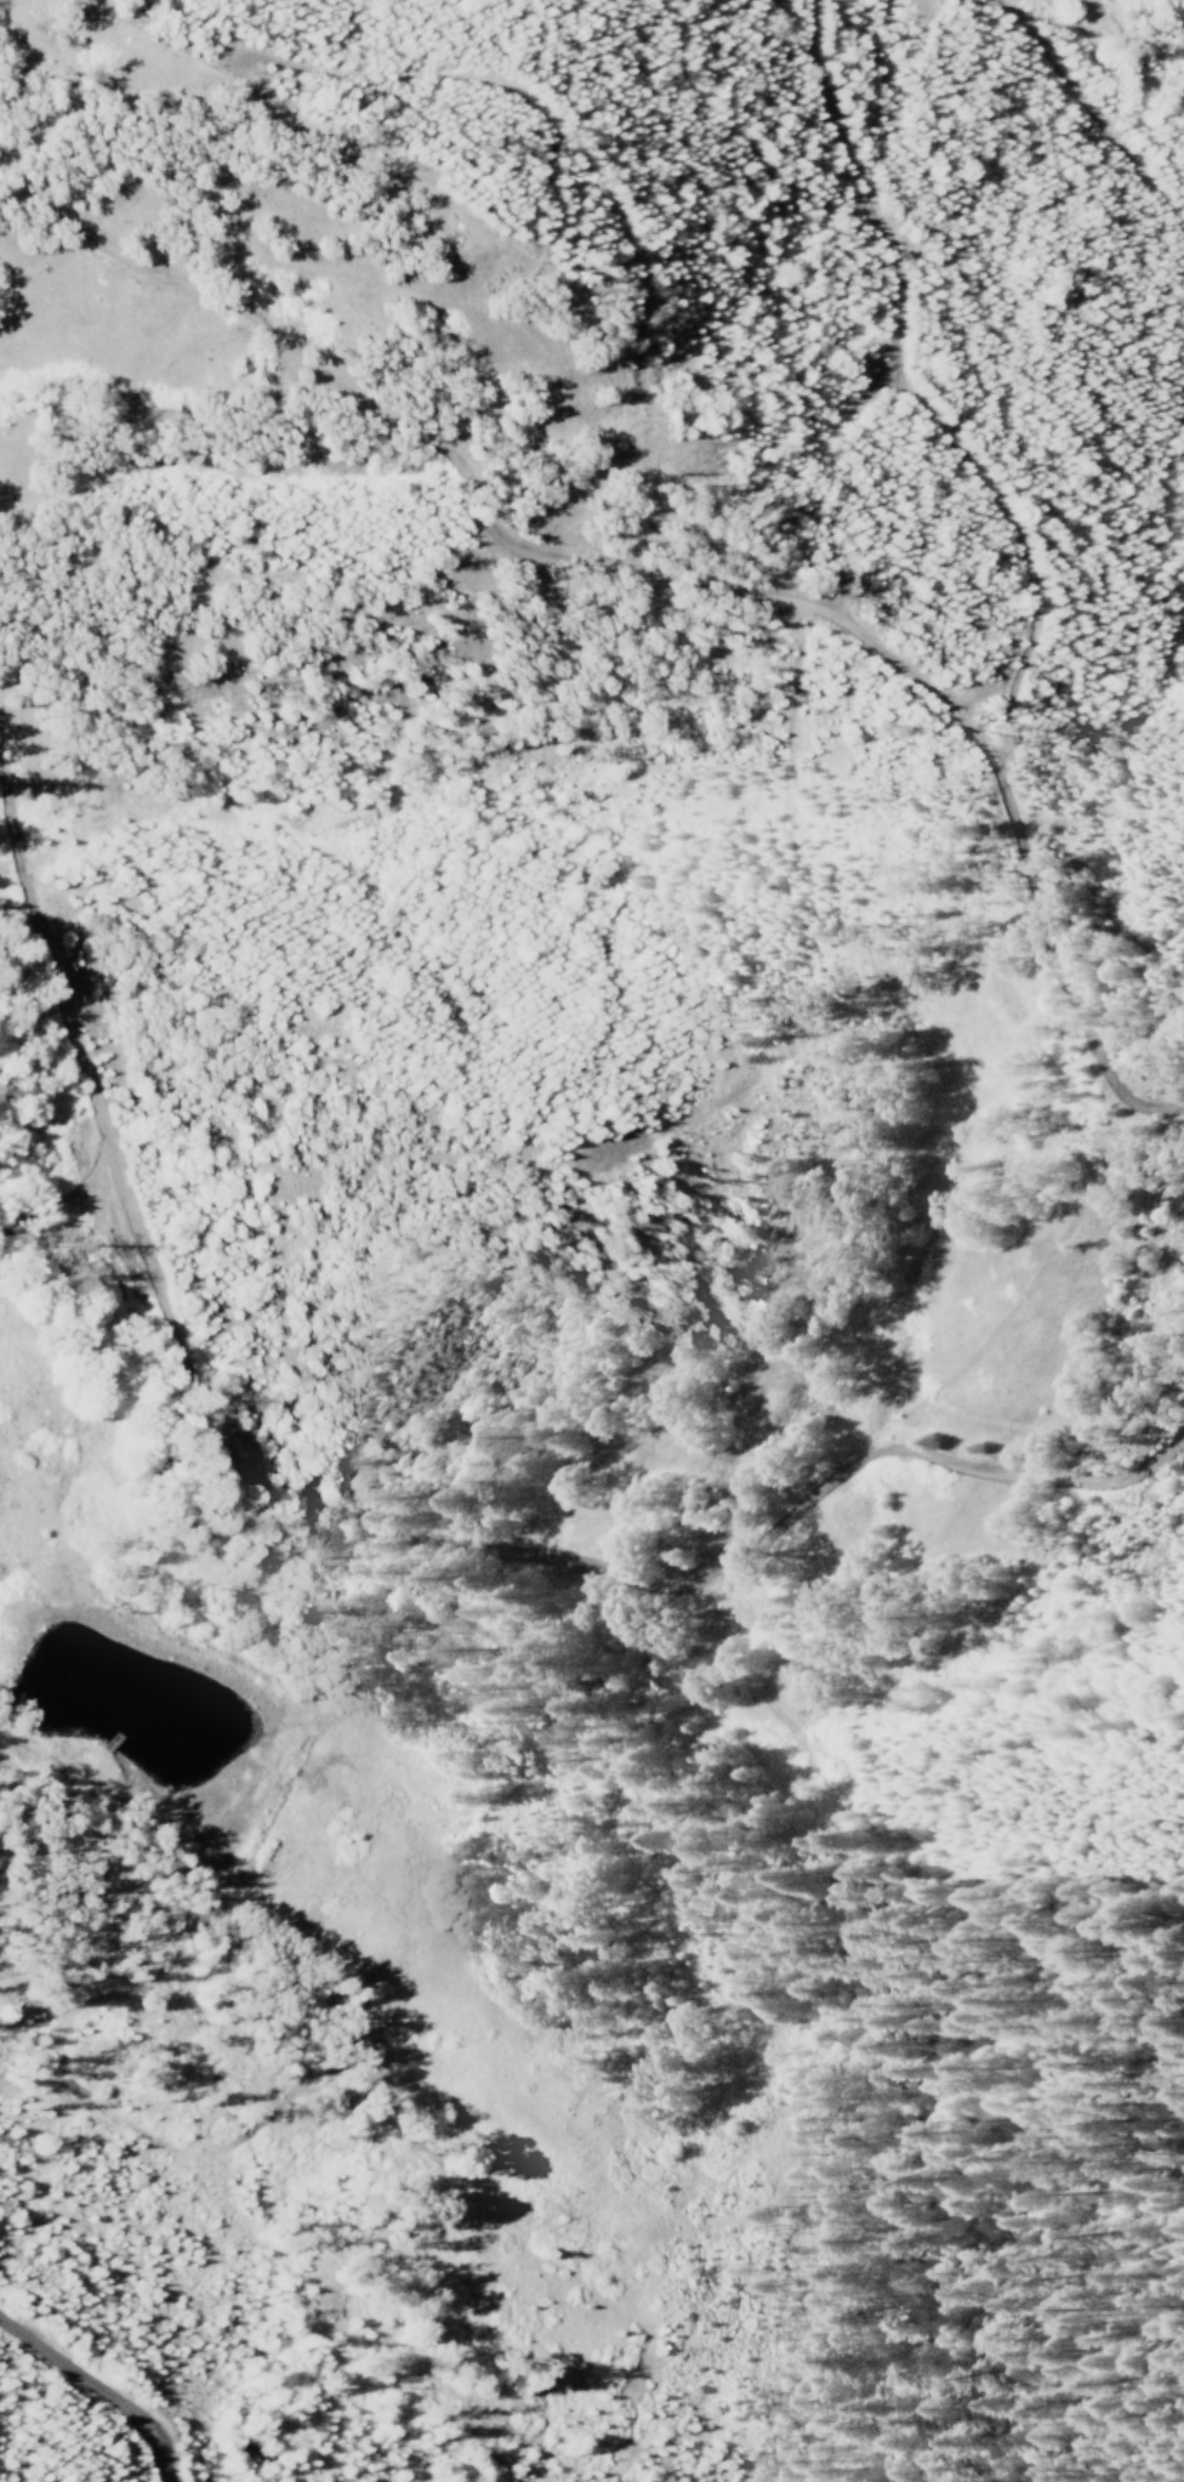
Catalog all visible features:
road: (95, 2392)

